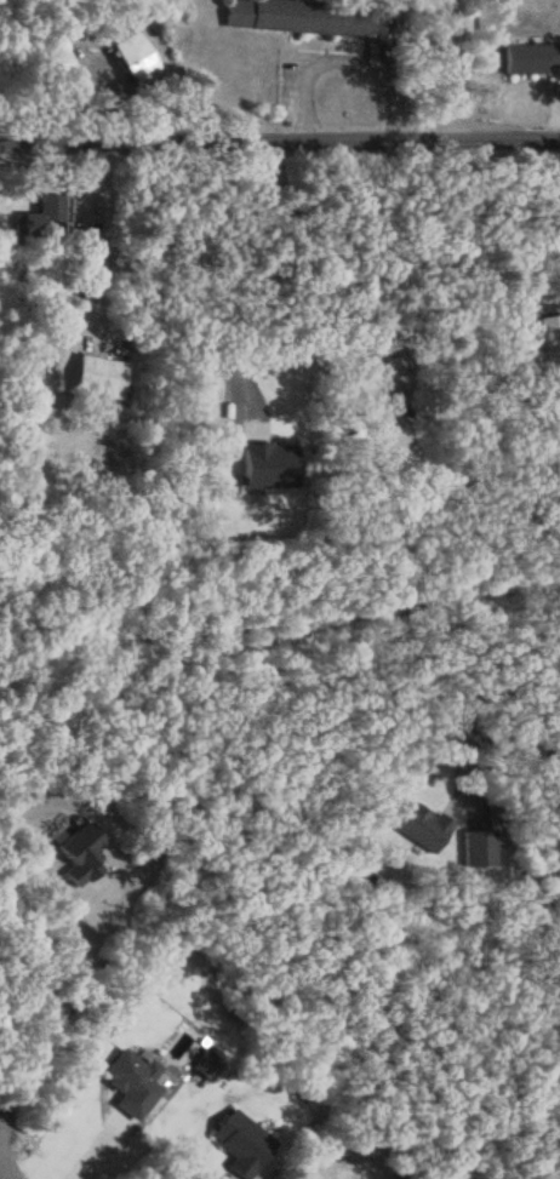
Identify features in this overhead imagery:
building: (309, 17)
building: (531, 57)
building: (135, 58)
road: (338, 62)
road: (445, 69)
road: (280, 141)
building: (46, 218)
building: (86, 256)
road: (234, 361)
building: (101, 377)
road: (539, 748)
building: (422, 826)
building: (476, 848)
building: (80, 854)
road: (57, 1015)
building: (241, 1143)
road: (0, 1178)

